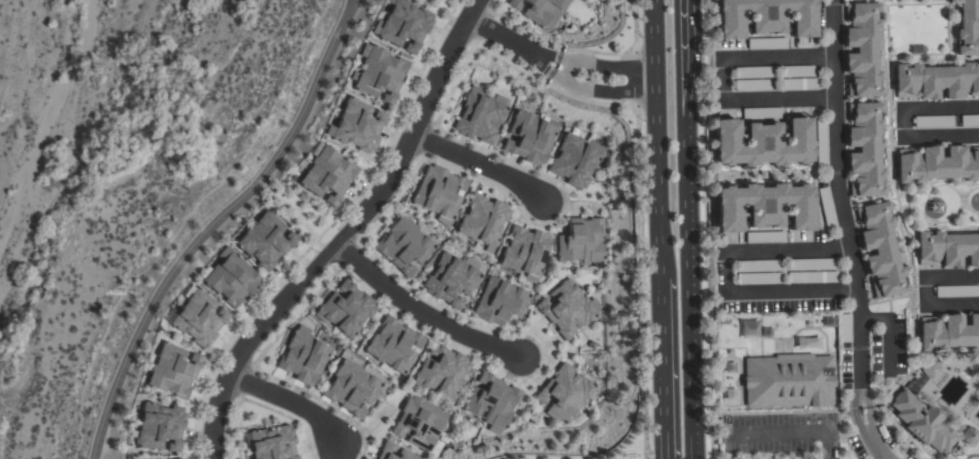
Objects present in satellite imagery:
building: (514, 4)
road: (348, 8)
road: (352, 8)
building: (544, 12)
building: (765, 17)
building: (404, 25)
building: (967, 28)
road: (634, 30)
road: (495, 35)
road: (654, 35)
building: (766, 44)
building: (862, 50)
road: (541, 55)
road: (538, 63)
road: (606, 69)
building: (796, 71)
road: (566, 72)
building: (754, 72)
building: (378, 73)
road: (725, 79)
road: (656, 81)
building: (936, 81)
road: (635, 82)
building: (754, 84)
building: (799, 84)
road: (602, 91)
building: (761, 113)
building: (479, 116)
building: (933, 121)
building: (969, 121)
road: (906, 123)
building: (356, 126)
building: (530, 137)
building: (820, 142)
building: (762, 143)
building: (864, 149)
building: (576, 160)
building: (937, 164)
road: (478, 166)
building: (327, 175)
road: (658, 184)
building: (439, 193)
building: (826, 206)
road: (841, 206)
building: (763, 207)
road: (298, 213)
building: (482, 221)
road: (687, 229)
road: (208, 231)
road: (346, 234)
building: (764, 237)
building: (266, 240)
building: (582, 241)
building: (404, 245)
building: (947, 249)
building: (880, 250)
building: (525, 252)
building: (811, 264)
building: (758, 266)
road: (729, 274)
building: (811, 277)
building: (231, 278)
building: (758, 279)
building: (451, 280)
road: (639, 282)
road: (928, 288)
building: (957, 291)
building: (499, 301)
building: (568, 308)
building: (346, 309)
road: (423, 311)
building: (199, 318)
building: (844, 328)
building: (948, 332)
building: (393, 345)
building: (303, 356)
road: (661, 367)
building: (930, 369)
building: (173, 371)
building: (442, 372)
building: (788, 380)
building: (352, 388)
building: (565, 394)
building: (492, 402)
road: (287, 406)
building: (926, 420)
building: (419, 423)
building: (160, 426)
road: (790, 434)
road: (878, 435)
building: (272, 443)
building: (387, 449)

